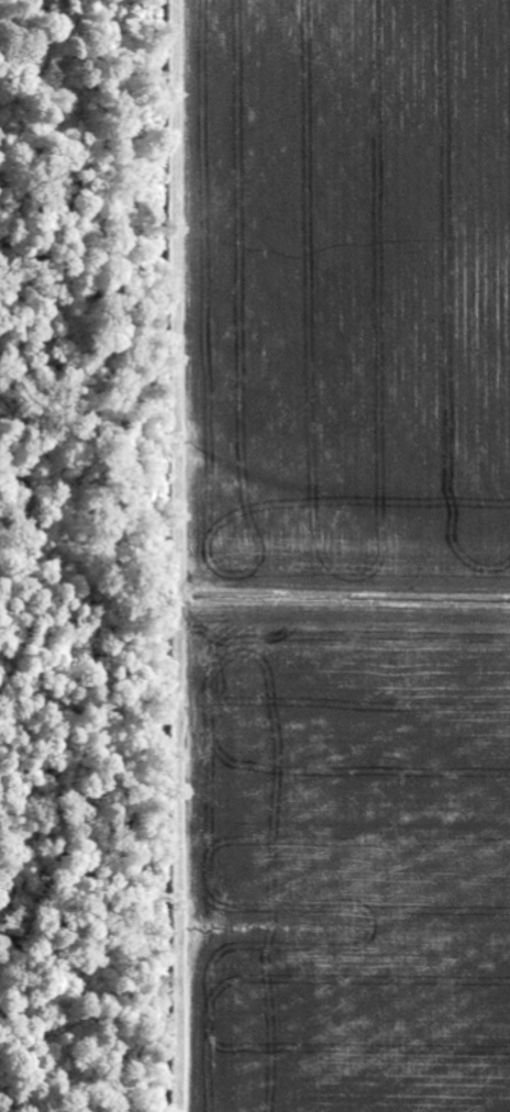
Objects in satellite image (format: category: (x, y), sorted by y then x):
park: (74, 560)

